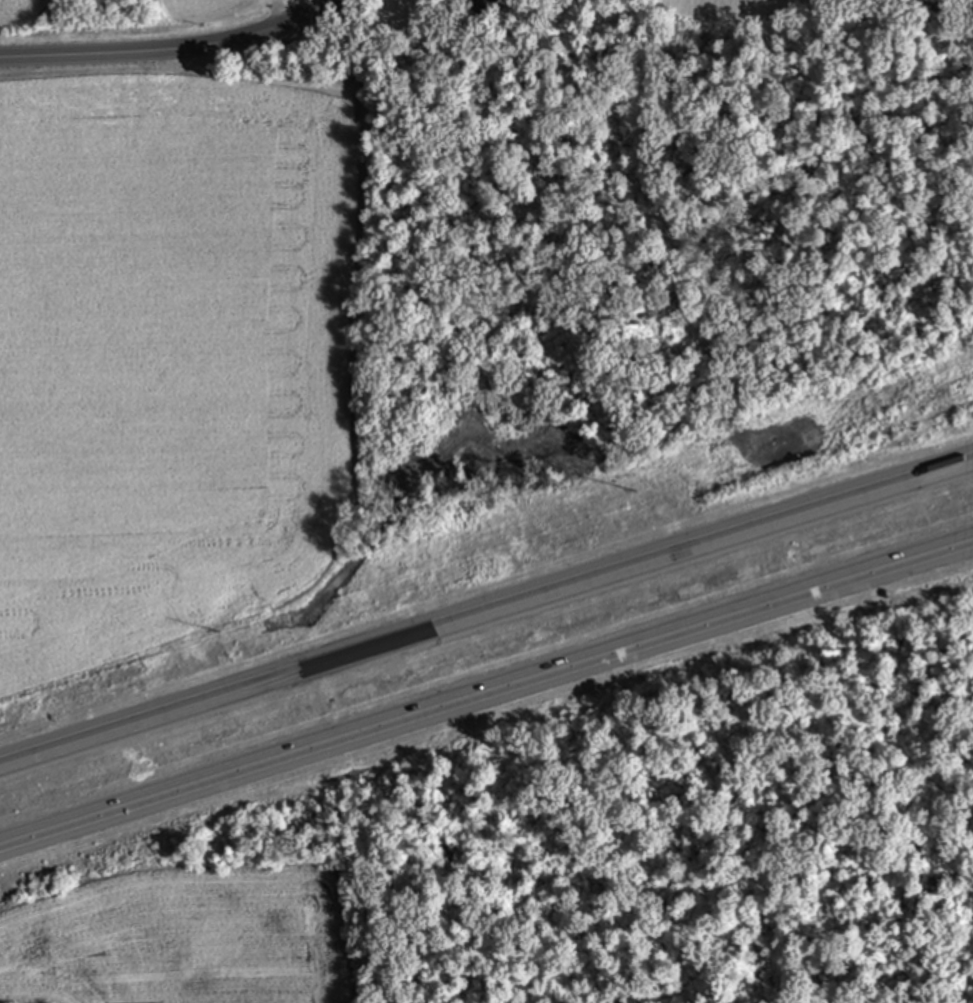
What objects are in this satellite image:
road: (276, 11)
road: (169, 49)
road: (486, 619)
road: (486, 701)

